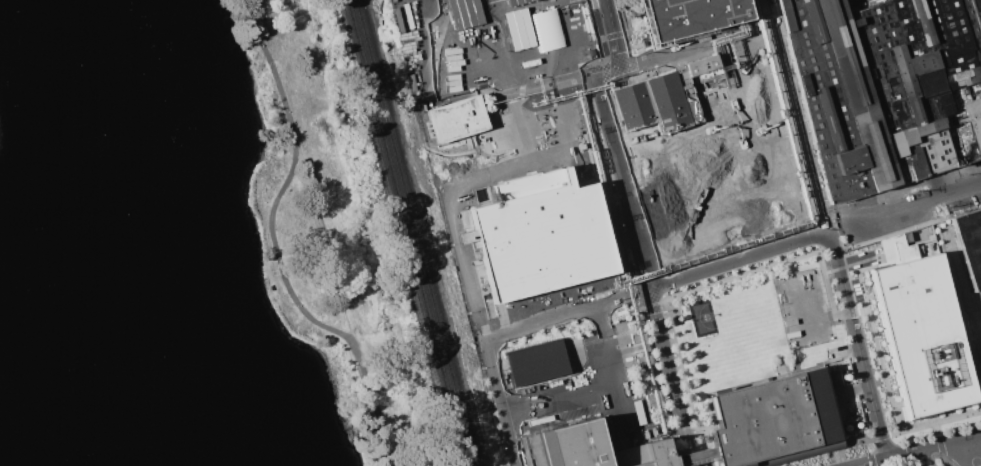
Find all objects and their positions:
building: (516, 1)
building: (974, 1)
building: (976, 10)
building: (689, 16)
building: (978, 23)
building: (980, 34)
building: (502, 49)
building: (916, 57)
building: (979, 84)
building: (857, 93)
building: (823, 98)
building: (973, 109)
road: (798, 117)
building: (456, 119)
building: (937, 124)
building: (921, 129)
building: (976, 133)
building: (907, 137)
building: (895, 144)
road: (611, 145)
building: (926, 156)
building: (685, 157)
building: (849, 160)
road: (905, 209)
railway: (398, 232)
railway: (406, 232)
railway: (415, 232)
park: (194, 245)
building: (969, 245)
road: (278, 247)
road: (657, 287)
building: (922, 334)
road: (857, 347)
building: (536, 362)
road: (671, 378)
road: (588, 379)
building: (834, 379)
road: (502, 403)
road: (616, 404)
building: (773, 421)
building: (565, 446)
road: (921, 451)
building: (656, 454)
road: (962, 454)
road: (924, 458)
building: (682, 460)

